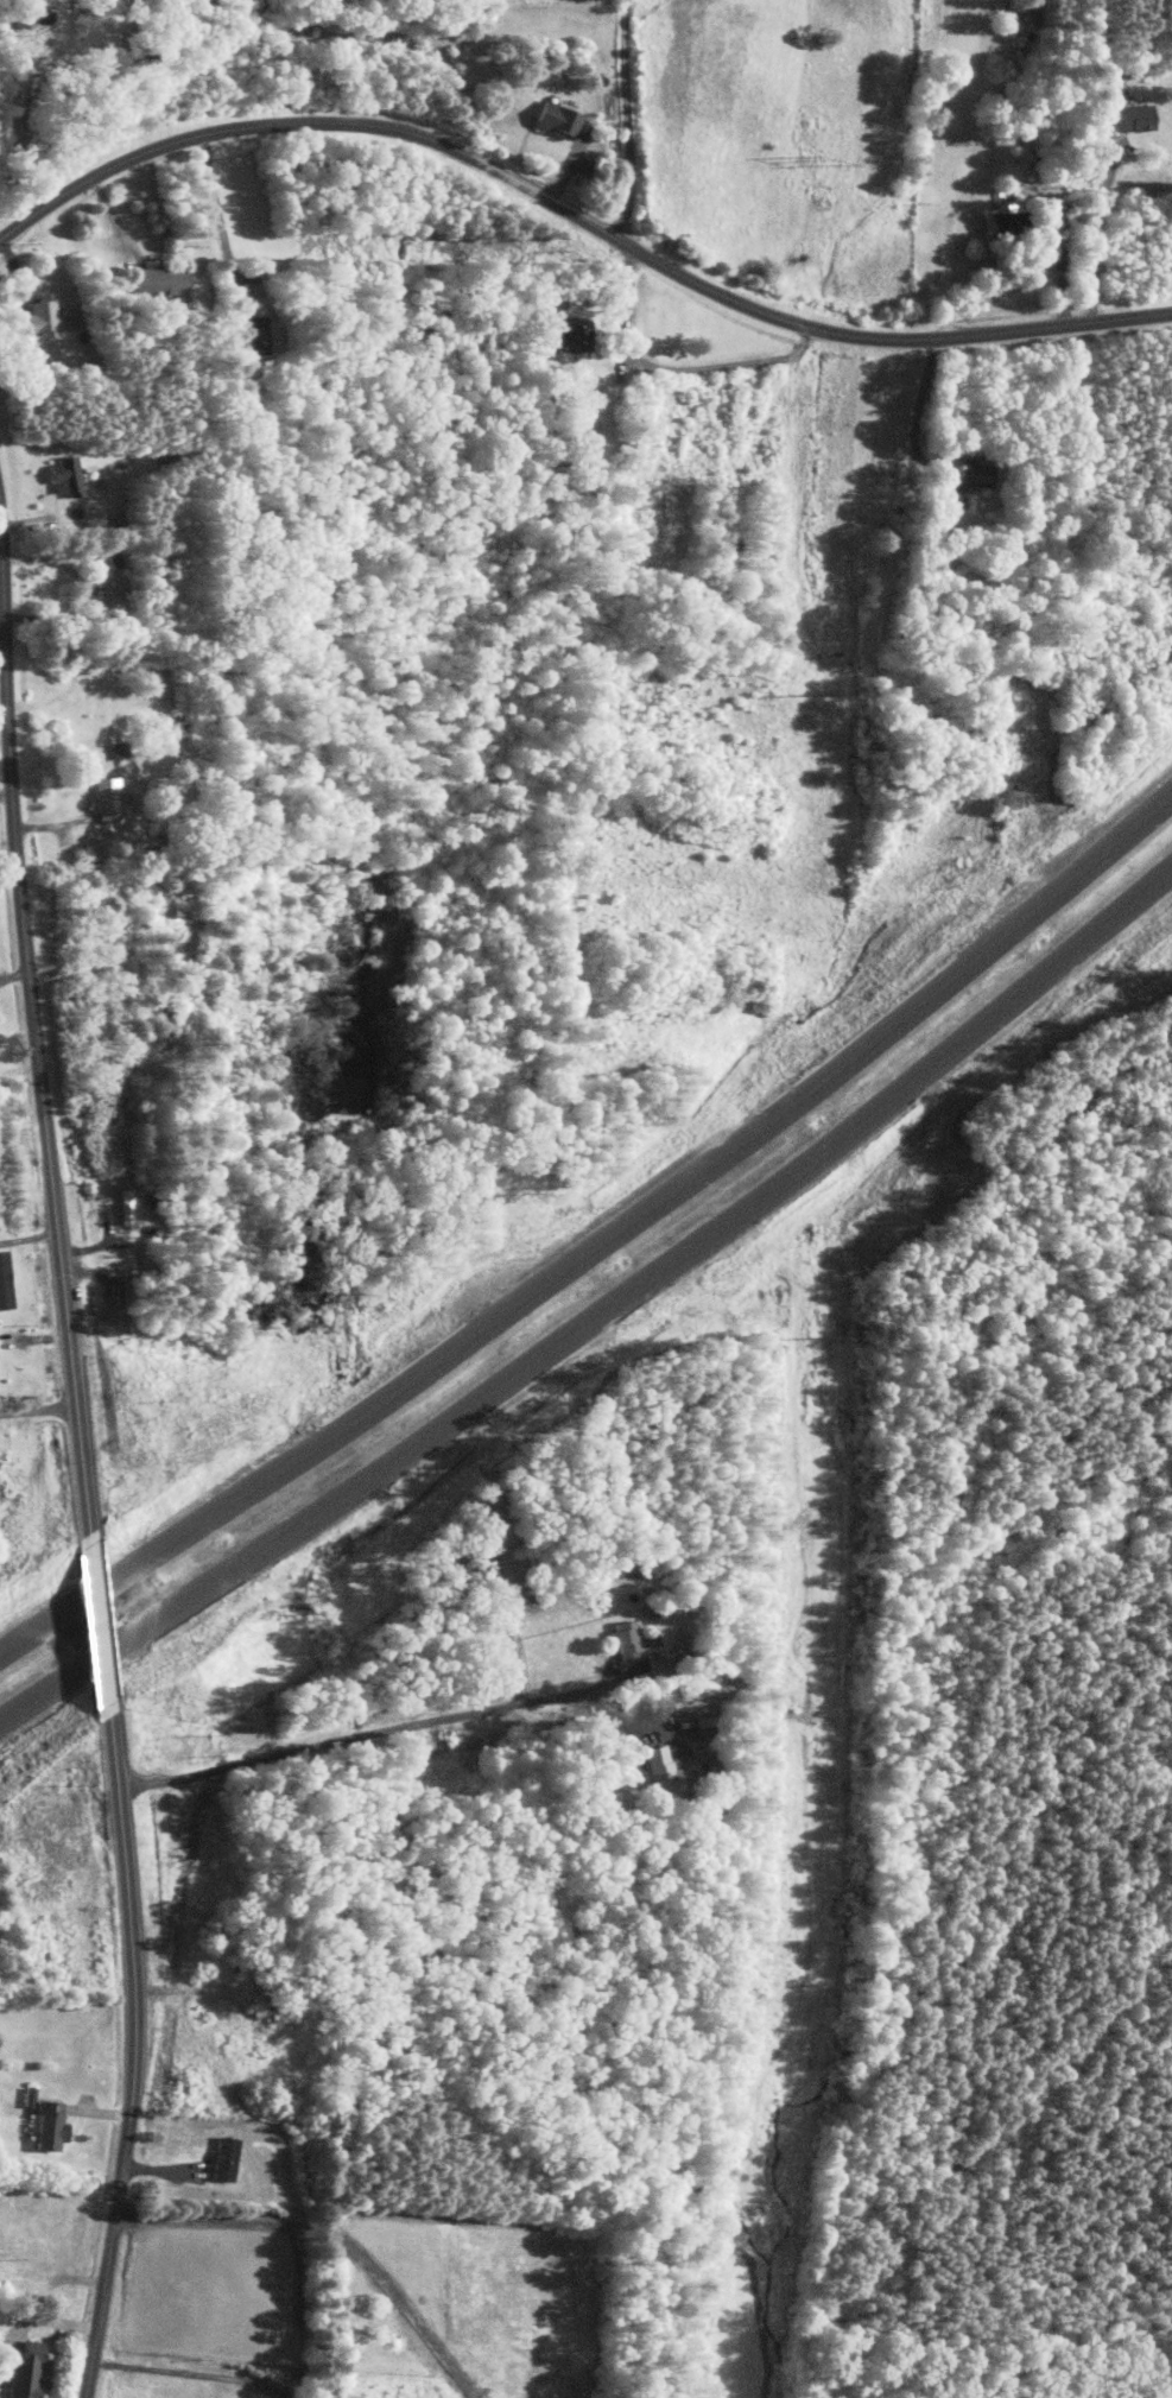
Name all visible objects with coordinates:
building: (36, 18)
building: (1129, 118)
building: (555, 119)
road: (625, 121)
power tower: (822, 162)
road: (215, 201)
road: (576, 213)
building: (997, 228)
road: (1098, 239)
building: (157, 279)
building: (39, 317)
building: (568, 334)
building: (252, 336)
road: (672, 369)
road: (917, 413)
building: (969, 473)
building: (64, 476)
building: (110, 590)
road: (2, 651)
power tower: (819, 691)
building: (106, 799)
building: (172, 909)
road: (34, 1029)
road: (600, 1248)
building: (2, 1282)
road: (598, 1312)
power tower: (816, 1342)
road: (38, 1410)
road: (101, 1625)
building: (628, 1640)
road: (570, 1691)
road: (623, 1722)
road: (419, 1725)
building: (659, 1771)
power tower: (812, 1941)
road: (135, 2052)
building: (47, 2126)
building: (223, 2159)
building: (23, 2372)
road: (188, 2373)

